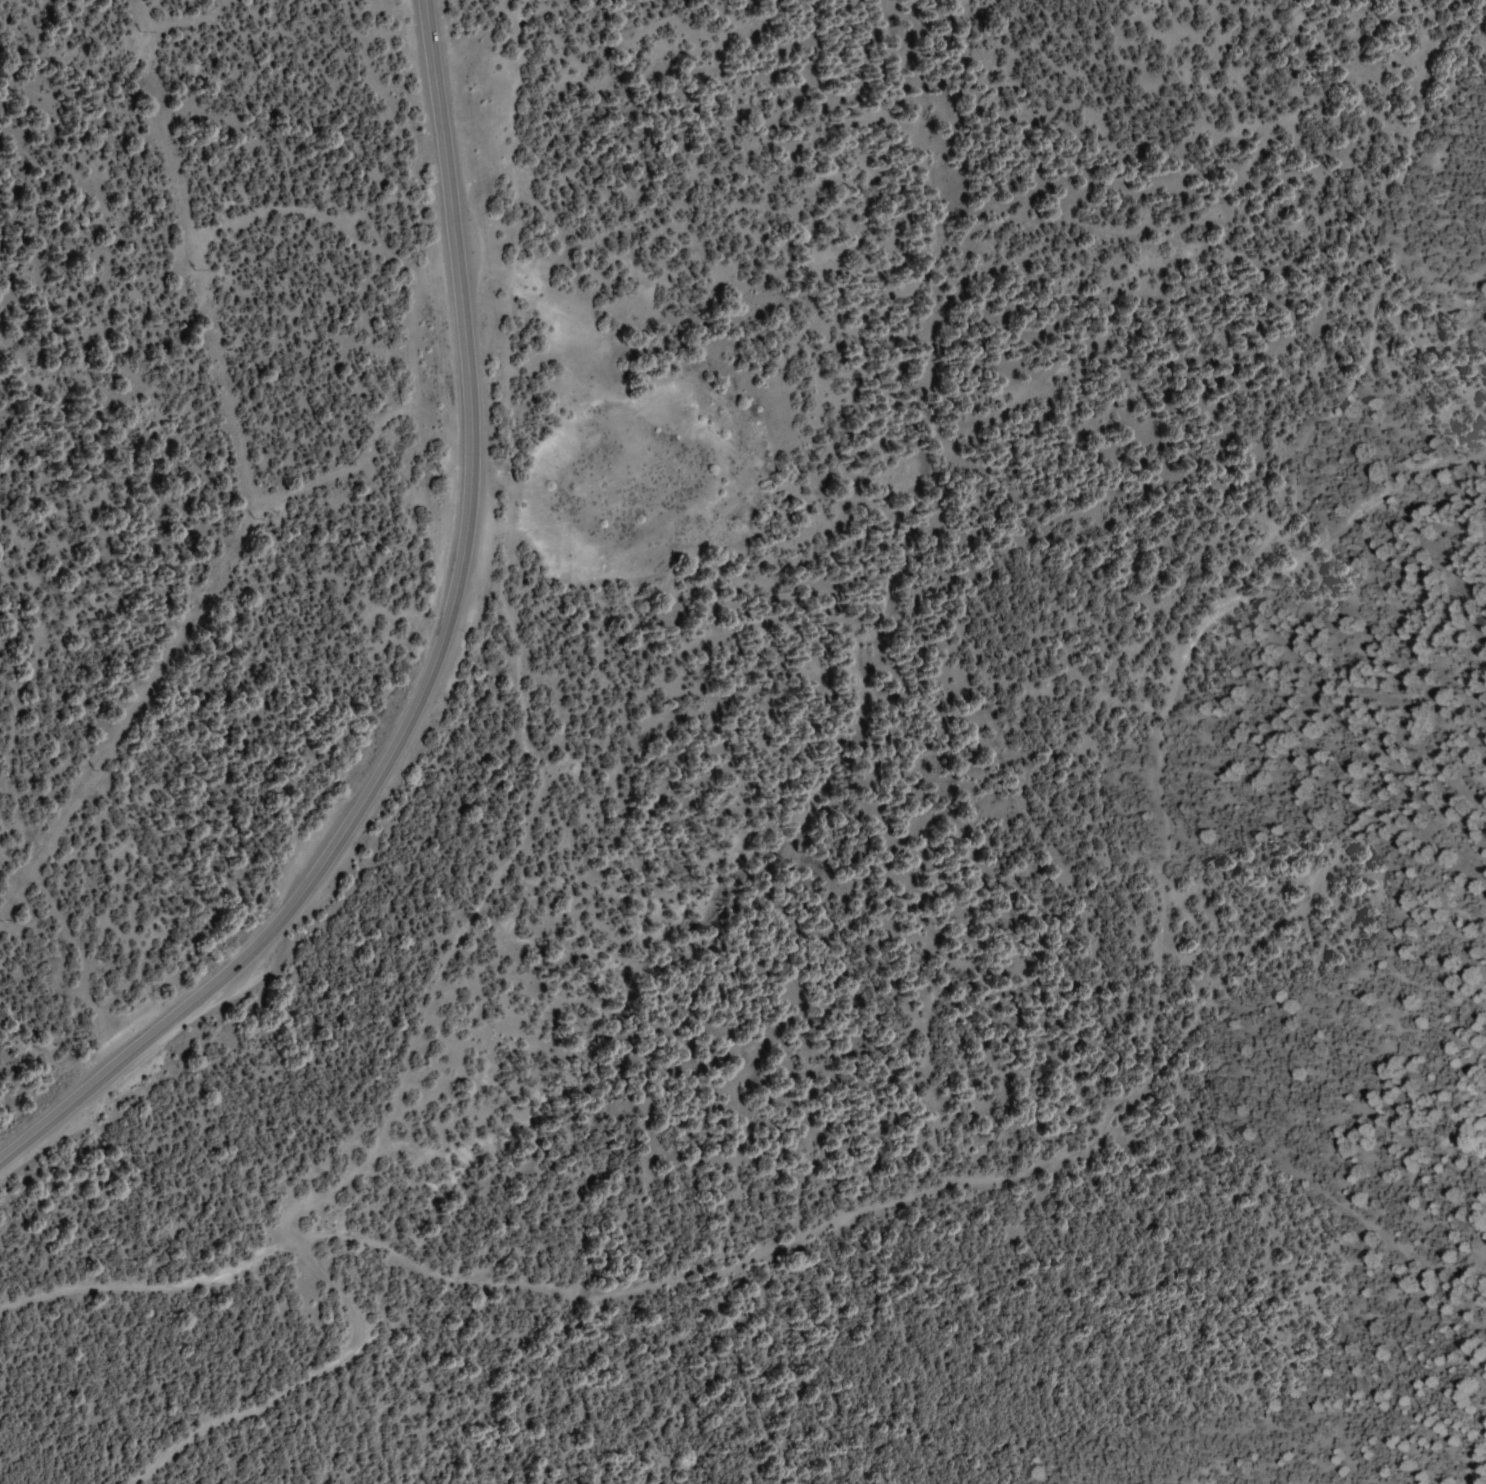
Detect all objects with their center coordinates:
quarry: (642, 477)
road: (431, 662)

